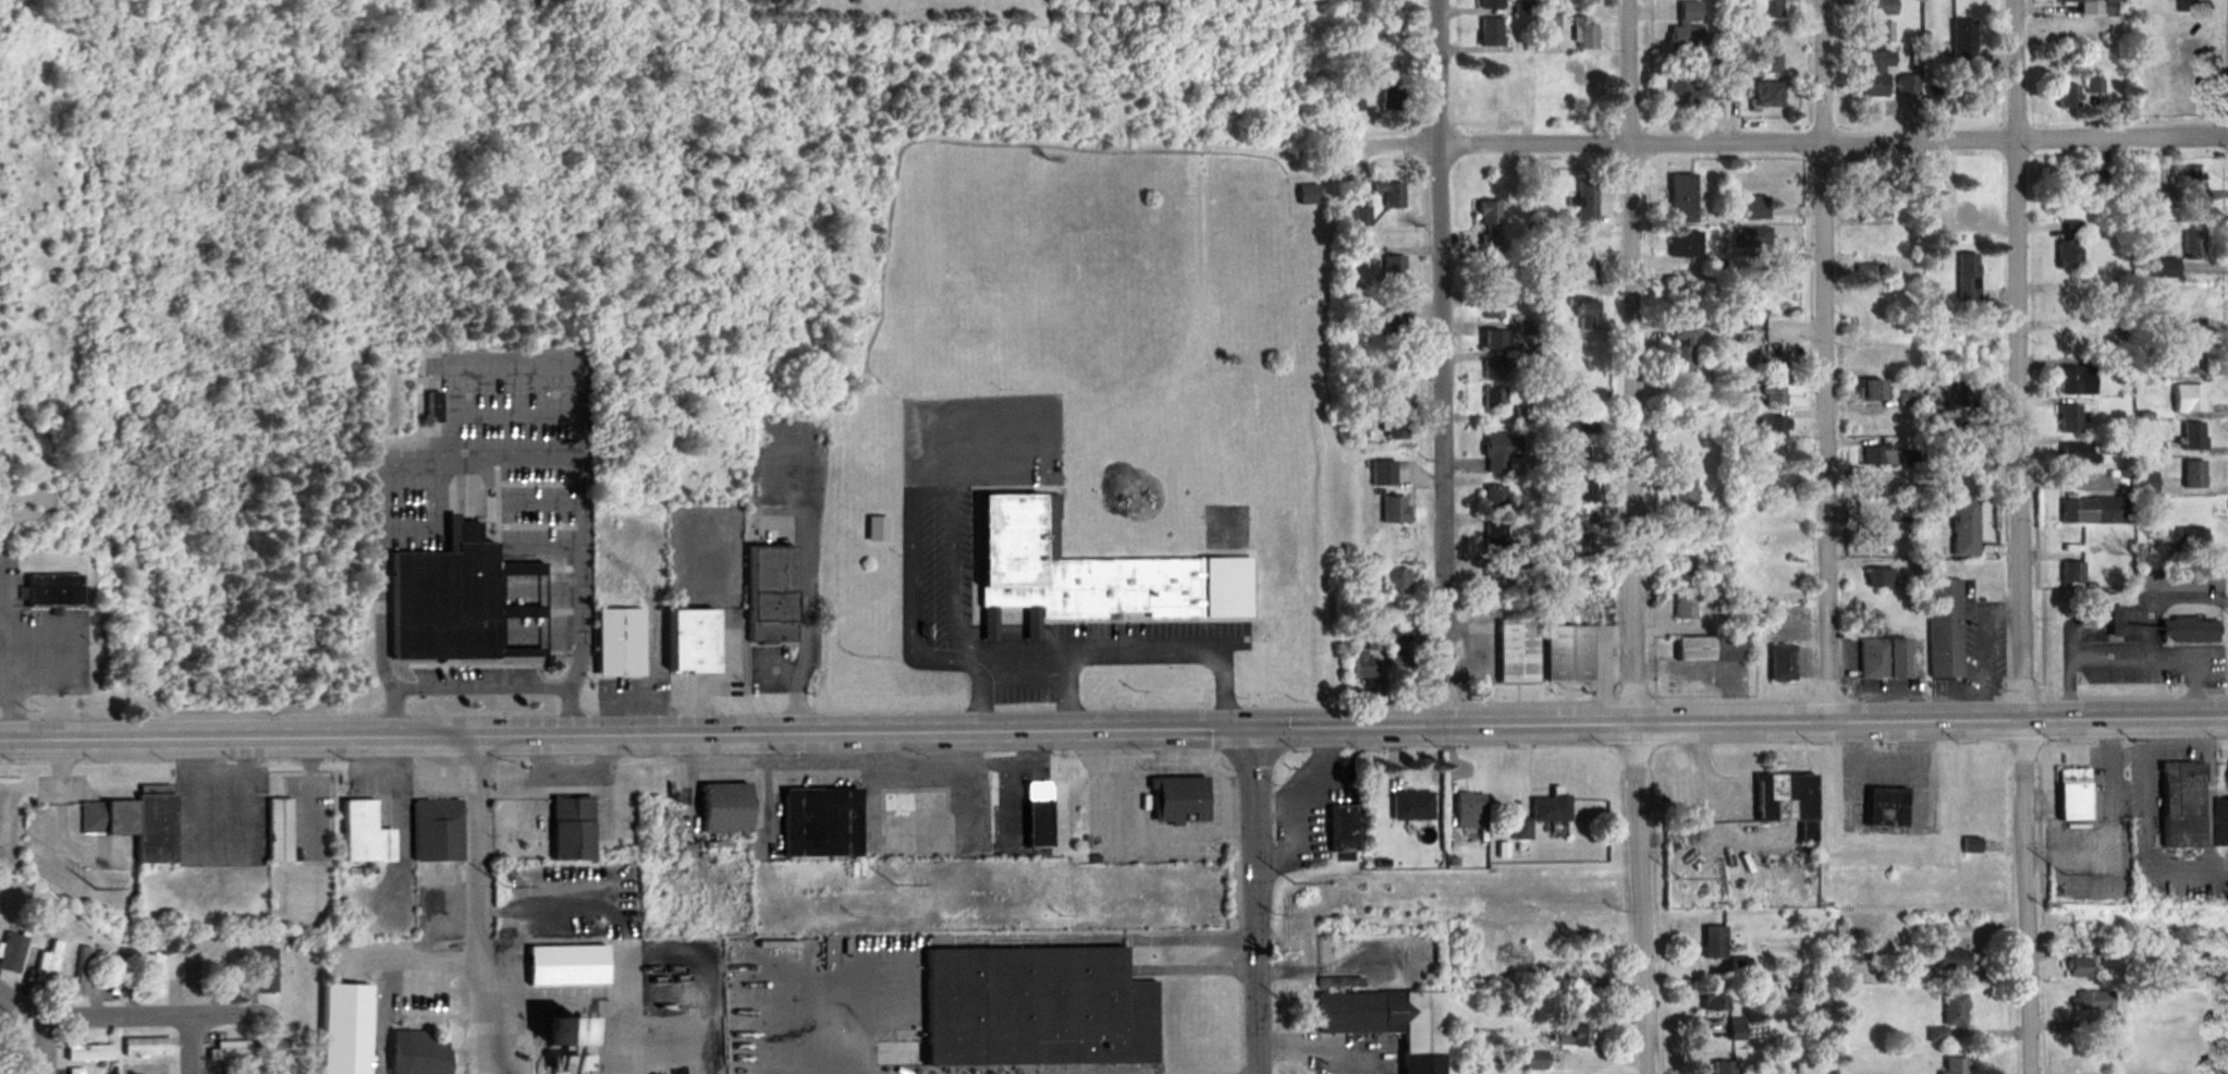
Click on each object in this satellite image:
building: (1586, 1)
building: (2078, 1)
building: (1489, 3)
building: (2189, 5)
building: (1885, 7)
building: (1768, 8)
building: (1388, 19)
building: (1548, 20)
building: (1687, 27)
building: (1490, 32)
building: (1874, 32)
building: (1586, 34)
building: (1962, 45)
building: (1770, 61)
building: (2190, 61)
building: (1562, 62)
building: (1874, 72)
building: (1908, 83)
building: (1588, 86)
building: (2094, 86)
building: (1689, 95)
building: (1768, 96)
building: (2066, 96)
building: (1394, 98)
building: (1490, 98)
road: (1779, 143)
building: (2190, 176)
building: (2079, 179)
building: (1547, 181)
building: (1868, 182)
building: (1391, 194)
building: (1308, 195)
building: (1681, 198)
building: (2165, 199)
building: (1587, 203)
building: (1874, 206)
building: (1755, 208)
building: (1362, 217)
building: (1959, 219)
building: (1490, 227)
building: (2072, 229)
building: (1753, 237)
building: (1871, 241)
building: (2193, 245)
building: (1687, 246)
building: (2068, 255)
building: (1394, 268)
building: (2164, 268)
building: (1580, 269)
building: (1870, 274)
building: (1967, 278)
building: (1871, 304)
building: (1494, 309)
building: (1584, 315)
building: (1393, 322)
building: (1495, 340)
building: (2068, 342)
building: (1685, 349)
building: (1873, 358)
road: (1831, 359)
building: (2189, 359)
road: (1447, 362)
building: (1774, 364)
building: (1494, 369)
building: (2076, 380)
building: (1873, 390)
building: (1776, 395)
building: (1963, 395)
building: (1494, 396)
building: (2188, 399)
building: (1909, 400)
building: (430, 407)
building: (2069, 418)
building: (1396, 425)
building: (1775, 426)
building: (1577, 435)
building: (2194, 436)
building: (2111, 447)
building: (1499, 451)
building: (2074, 453)
building: (1878, 455)
building: (1967, 455)
road: (425, 456)
building: (2194, 474)
building: (2146, 483)
building: (1876, 486)
building: (1581, 489)
road: (943, 490)
building: (1684, 491)
building: (1495, 501)
building: (1393, 509)
building: (2092, 511)
building: (1701, 516)
building: (1878, 516)
building: (1776, 518)
building: (1964, 529)
road: (1638, 537)
road: (2023, 537)
building: (2192, 539)
building: (1495, 540)
building: (1580, 547)
building: (1064, 573)
building: (2072, 573)
building: (1495, 576)
building: (1554, 576)
building: (1773, 577)
building: (1396, 578)
building: (1688, 578)
building: (1881, 578)
building: (1580, 581)
building: (51, 590)
building: (769, 595)
building: (463, 602)
building: (1687, 608)
building: (2142, 623)
building: (1945, 628)
building: (2189, 631)
building: (689, 642)
building: (617, 643)
building: (1712, 650)
building: (1517, 652)
building: (1566, 655)
road: (578, 658)
road: (1170, 658)
building: (1368, 658)
building: (1874, 659)
building: (1899, 661)
building: (1398, 662)
building: (1780, 662)
road: (640, 685)
road: (715, 685)
road: (479, 686)
road: (13, 692)
road: (566, 711)
road: (1740, 721)
traffic signals: (1253, 727)
road: (626, 733)
road: (574, 767)
building: (2074, 795)
building: (1177, 801)
building: (1787, 801)
building: (1411, 806)
building: (2182, 806)
building: (1886, 807)
building: (722, 808)
building: (1037, 808)
building: (1550, 809)
building: (1469, 811)
building: (819, 823)
building: (135, 825)
building: (2221, 825)
building: (1343, 828)
building: (570, 829)
building: (436, 830)
building: (1521, 830)
building: (279, 831)
building: (364, 834)
road: (1257, 900)
road: (478, 905)
building: (1713, 942)
building: (14, 953)
road: (424, 959)
building: (1950, 961)
building: (1593, 963)
building: (50, 965)
building: (565, 965)
building: (1739, 966)
building: (2078, 968)
building: (85, 972)
building: (118, 972)
building: (234, 973)
building: (1915, 974)
building: (160, 975)
building: (196, 977)
road: (577, 1000)
building: (1713, 1000)
road: (22, 1008)
building: (1036, 1009)
building: (2101, 1010)
road: (162, 1014)
building: (1949, 1016)
building: (1390, 1023)
building: (1737, 1028)
building: (345, 1029)
building: (556, 1034)
building: (1574, 1037)
building: (150, 1047)
road: (293, 1047)
road: (201, 1048)
road: (41, 1049)
building: (89, 1049)
building: (238, 1051)
building: (421, 1053)
building: (13, 1060)
building: (1533, 1060)
building: (571, 1063)
building: (1955, 1065)
building: (1722, 1067)
building: (220, 1070)
building: (77, 1071)

